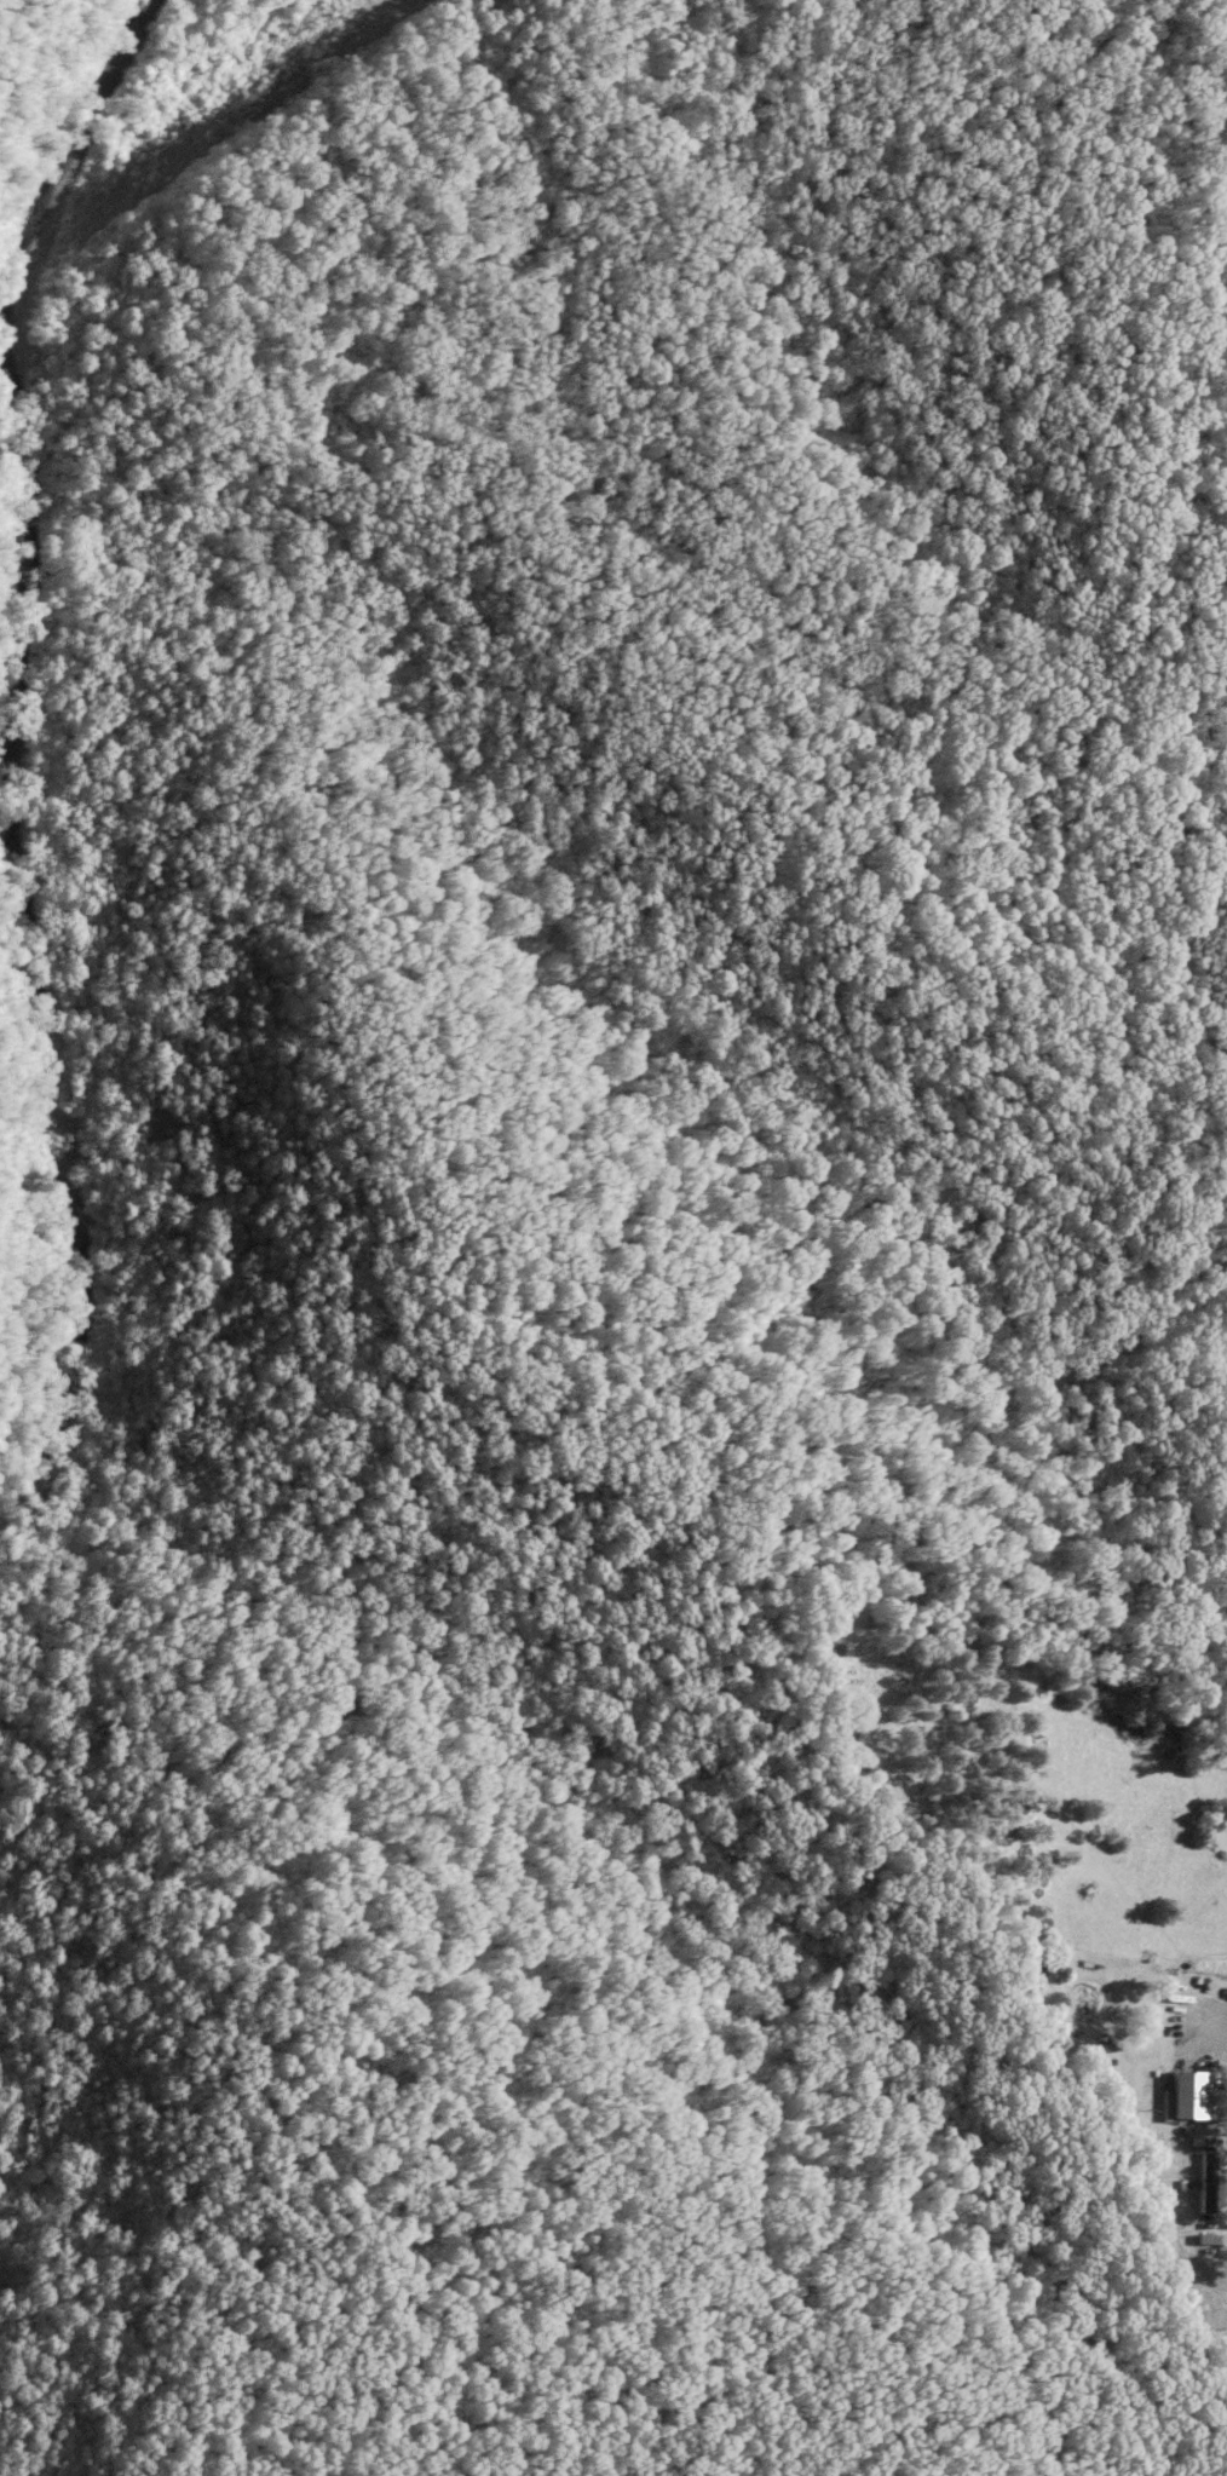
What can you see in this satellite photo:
building: (1198, 2095)

